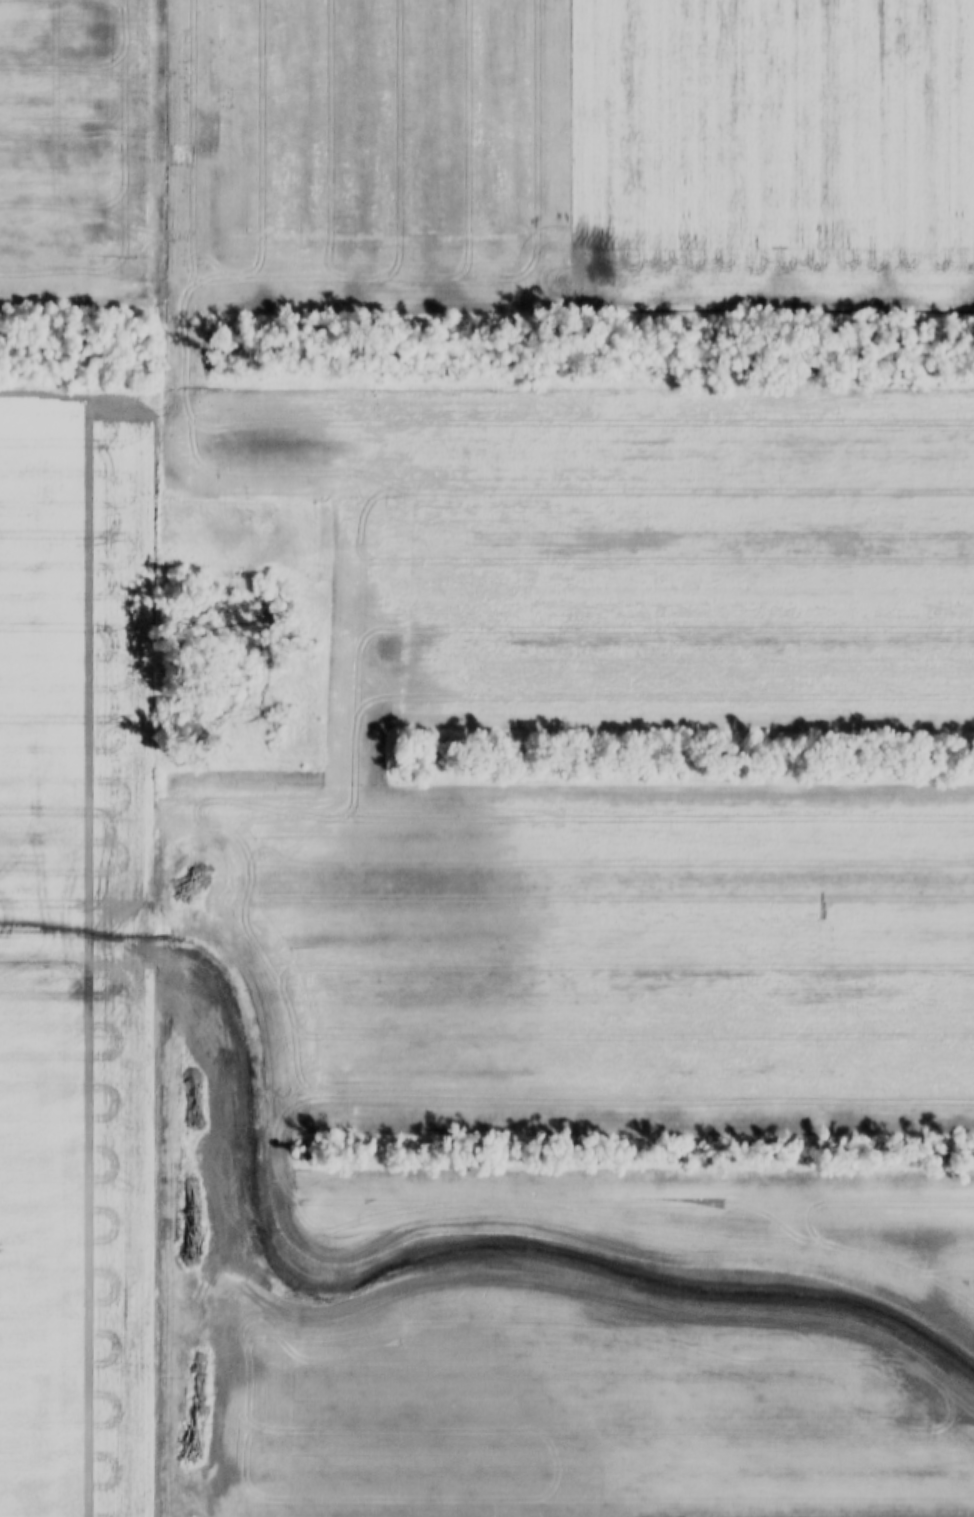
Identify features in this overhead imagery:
airport runway: (541, 135)

